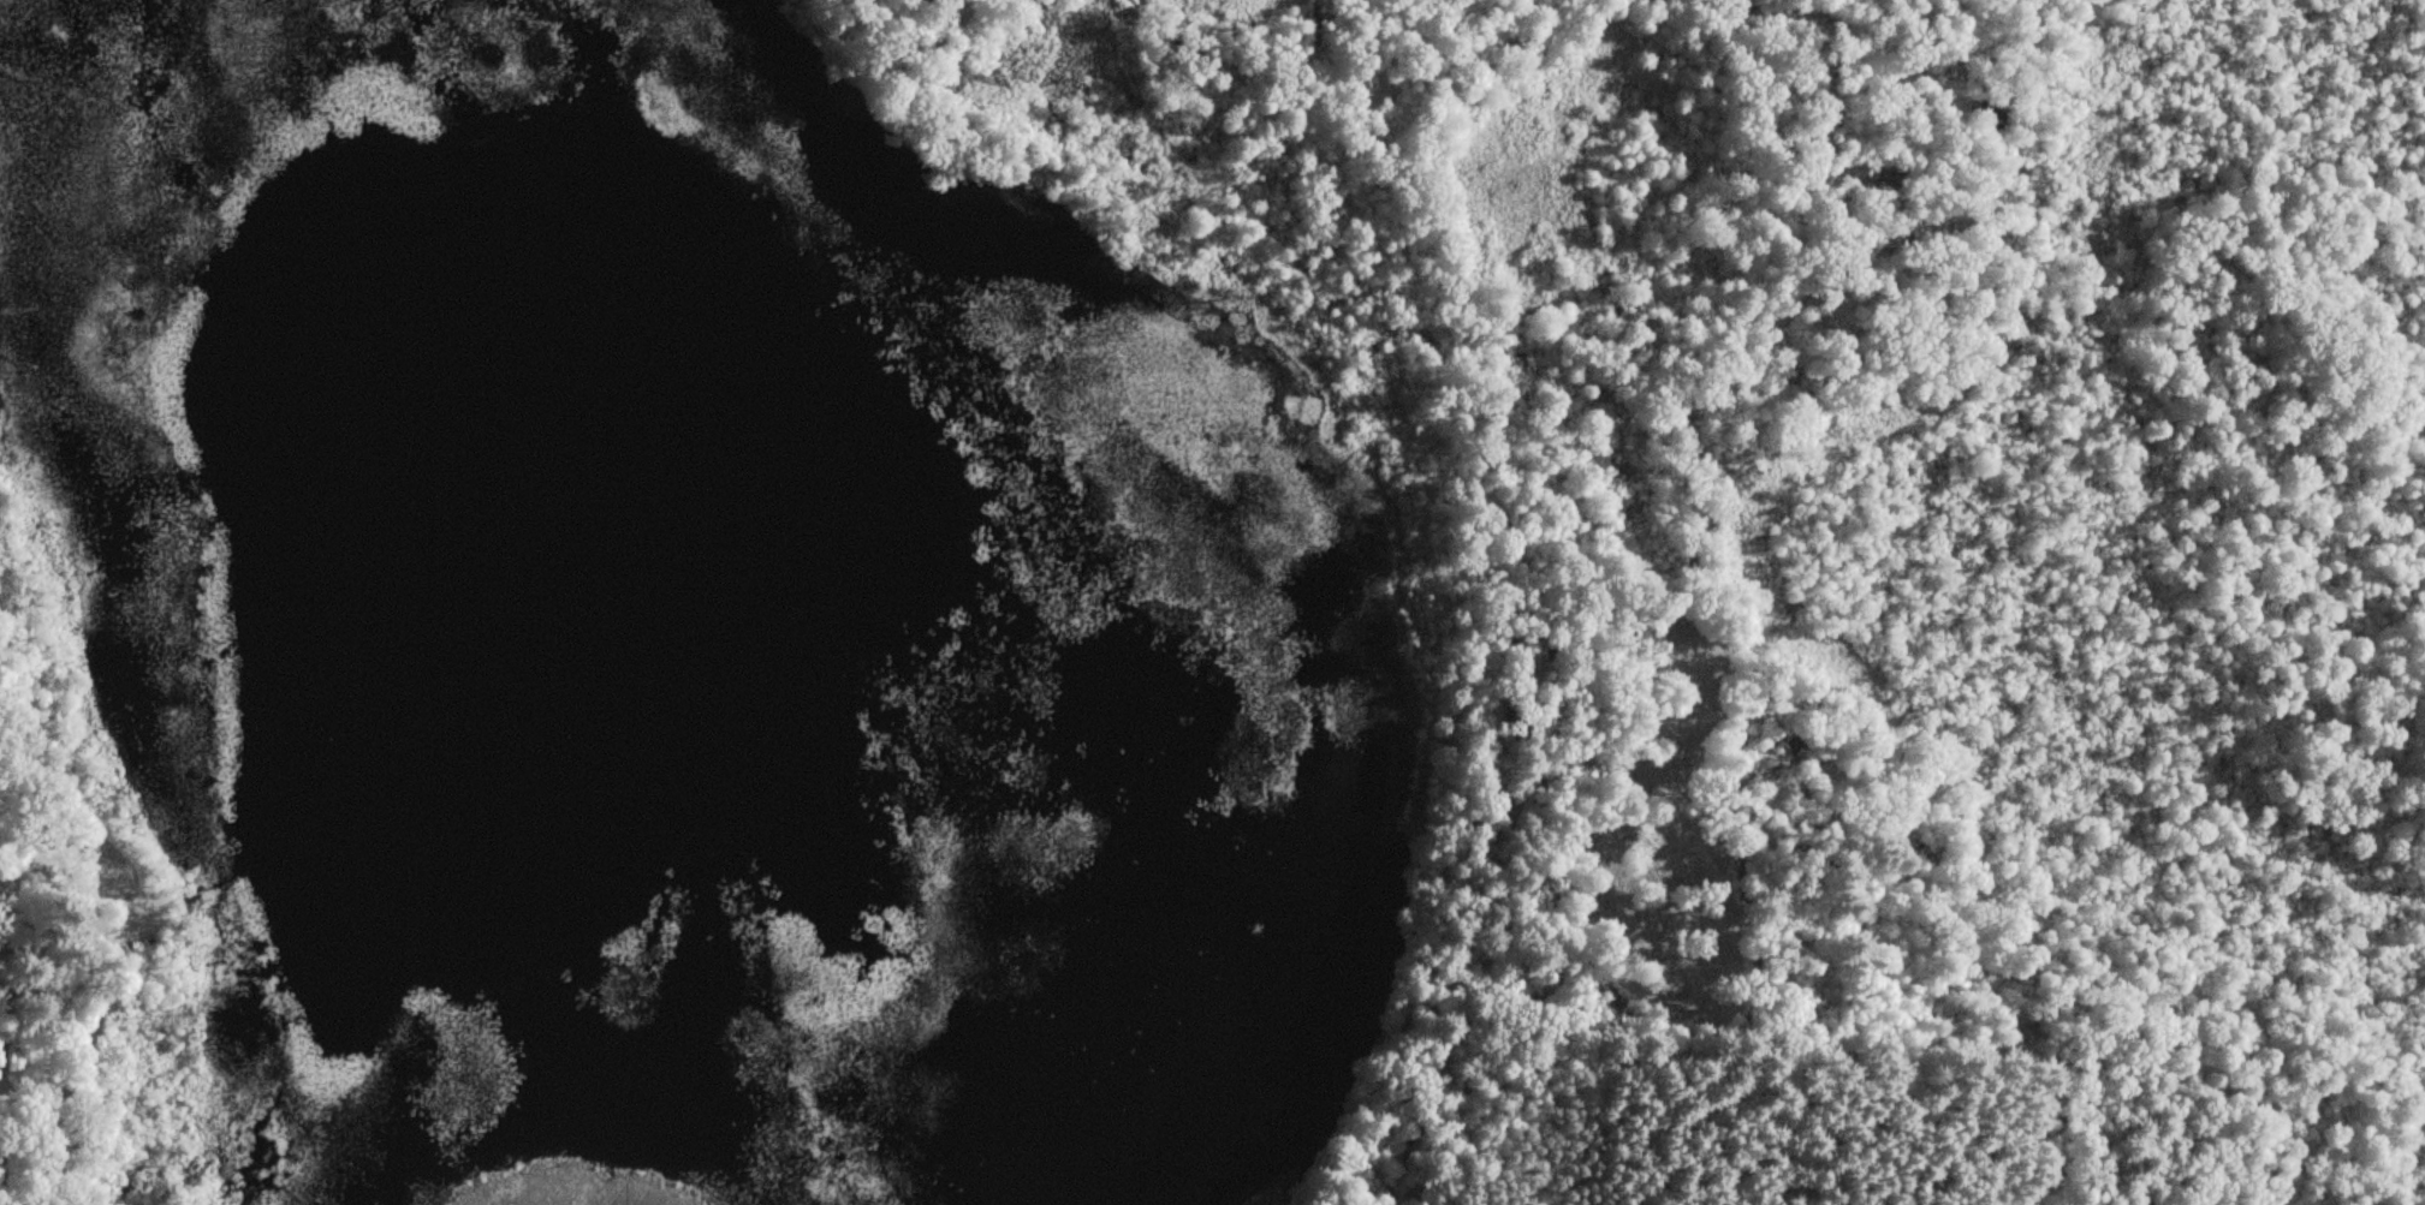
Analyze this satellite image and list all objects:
road: (2066, 1203)

